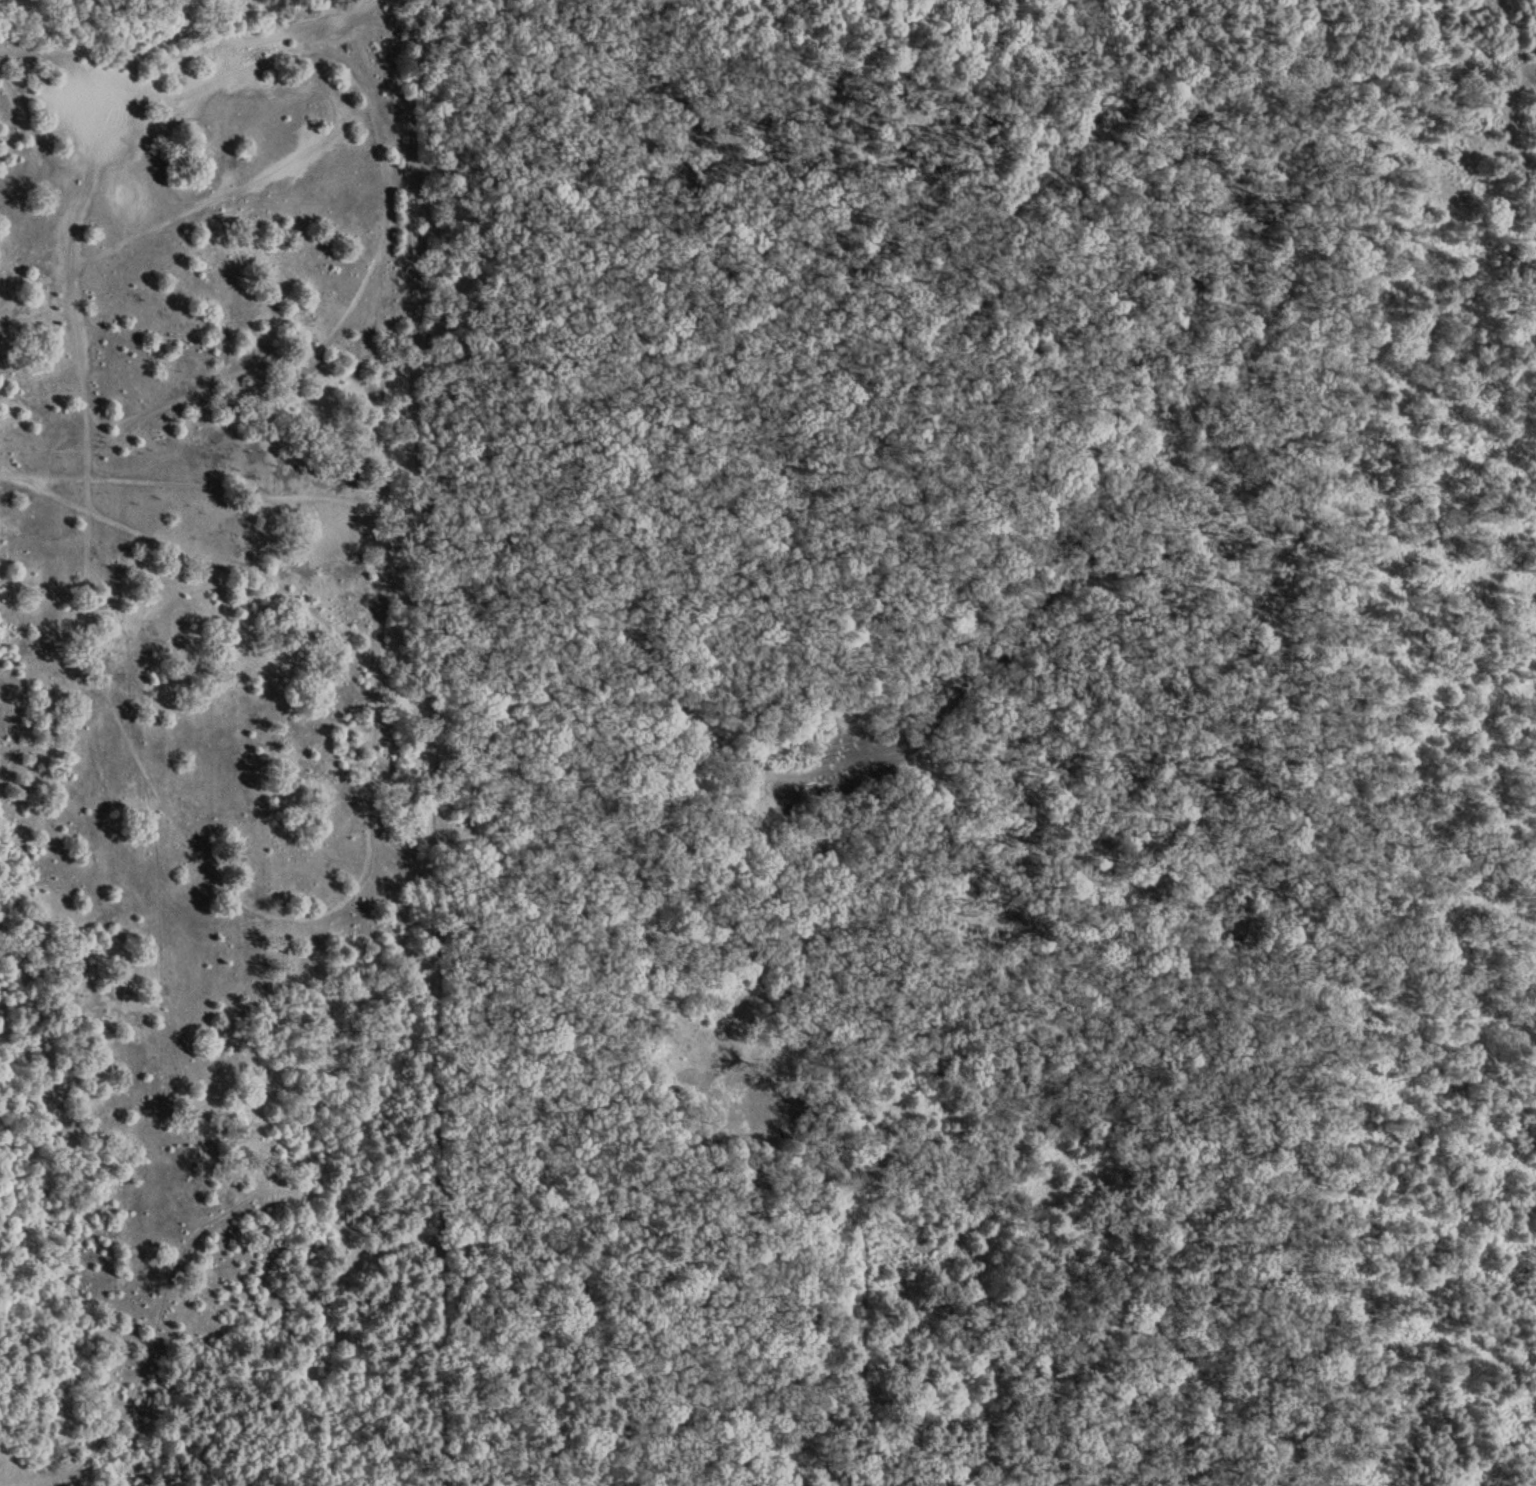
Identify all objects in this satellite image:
road: (438, 743)

